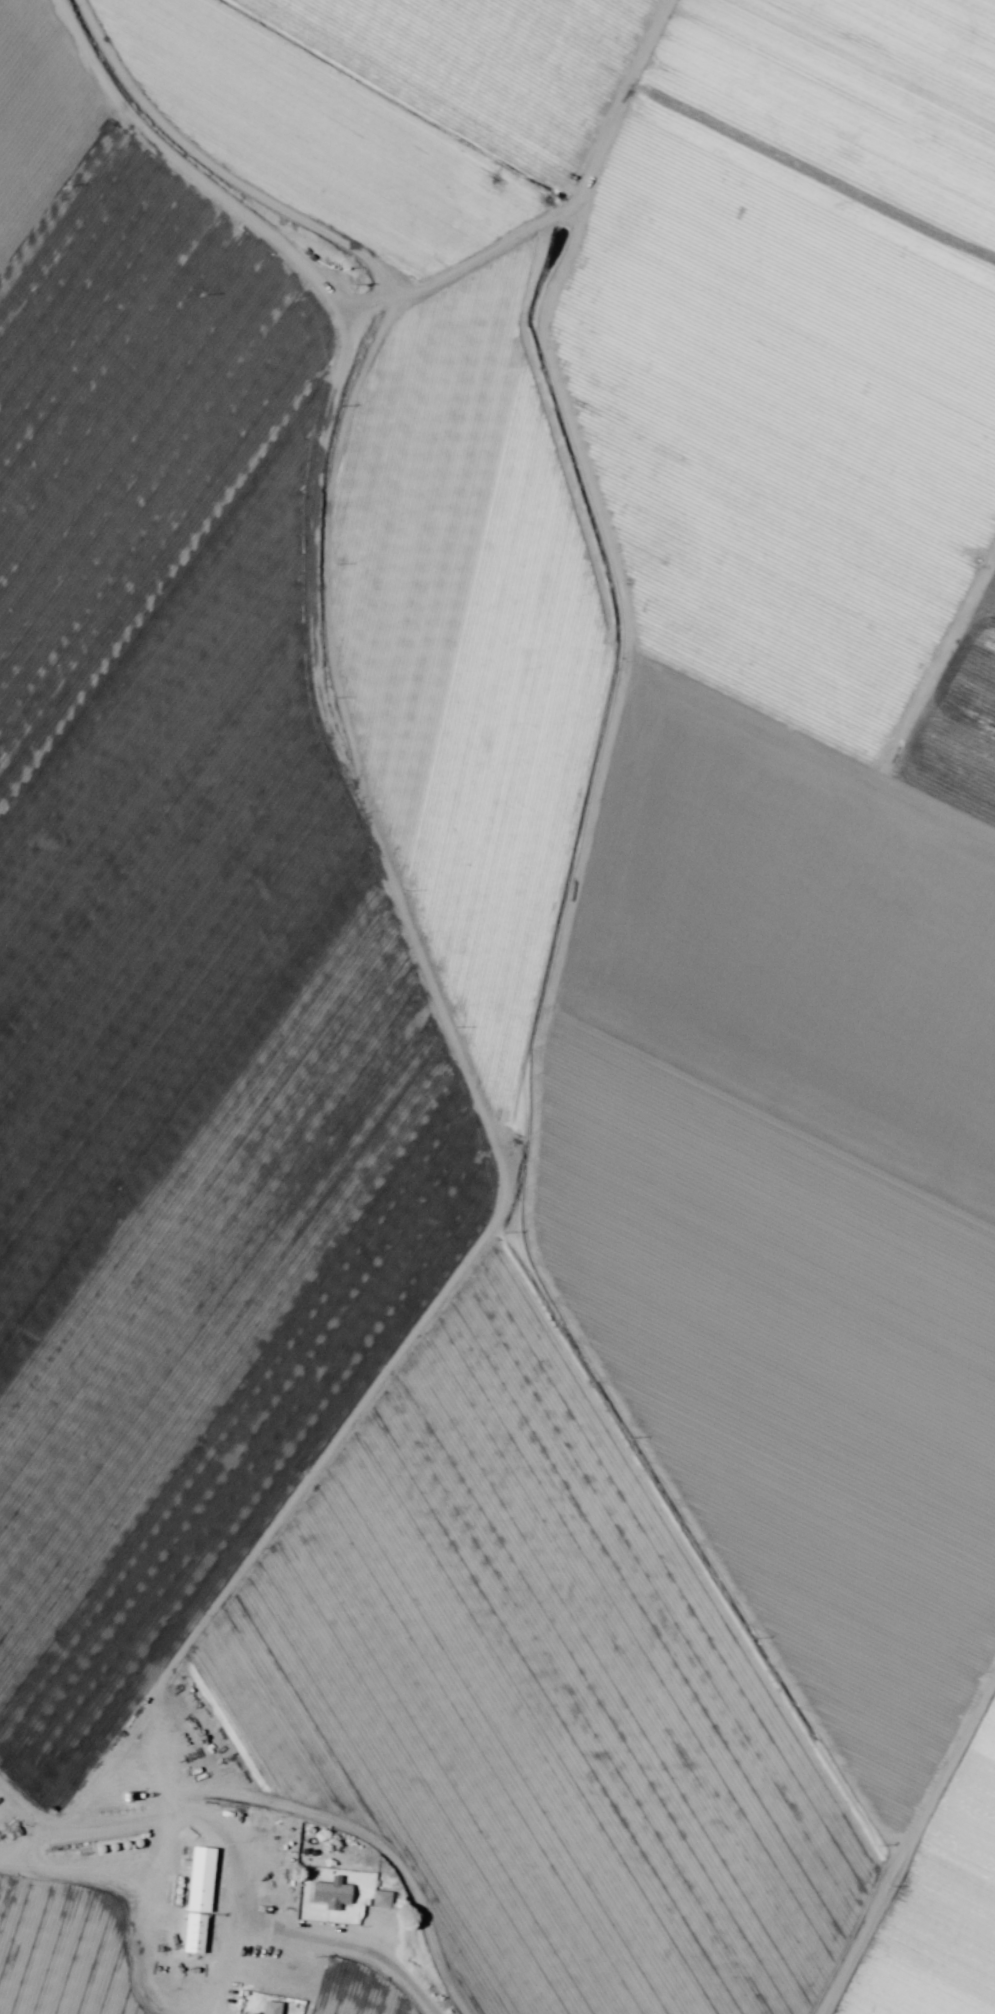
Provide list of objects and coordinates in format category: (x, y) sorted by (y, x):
building: (513, 192)
building: (494, 220)
road: (290, 1825)
building: (55, 1852)
building: (379, 1899)
building: (195, 1900)
building: (288, 1979)
building: (269, 2008)

